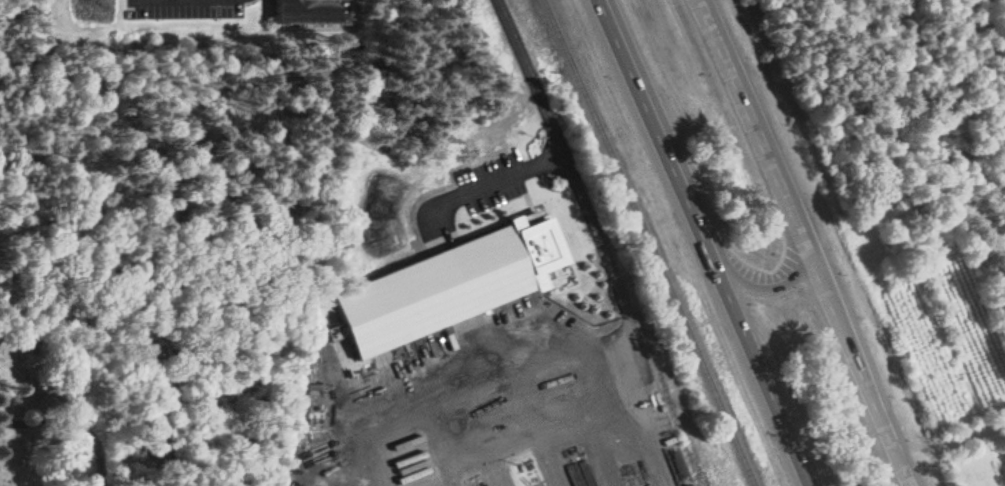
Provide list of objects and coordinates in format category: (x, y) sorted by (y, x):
building: (313, 11)
road: (563, 151)
railway: (648, 242)
road: (706, 242)
road: (800, 243)
road: (615, 272)
building: (450, 285)
road: (768, 291)
road: (75, 421)
park: (94, 438)
road: (951, 441)

